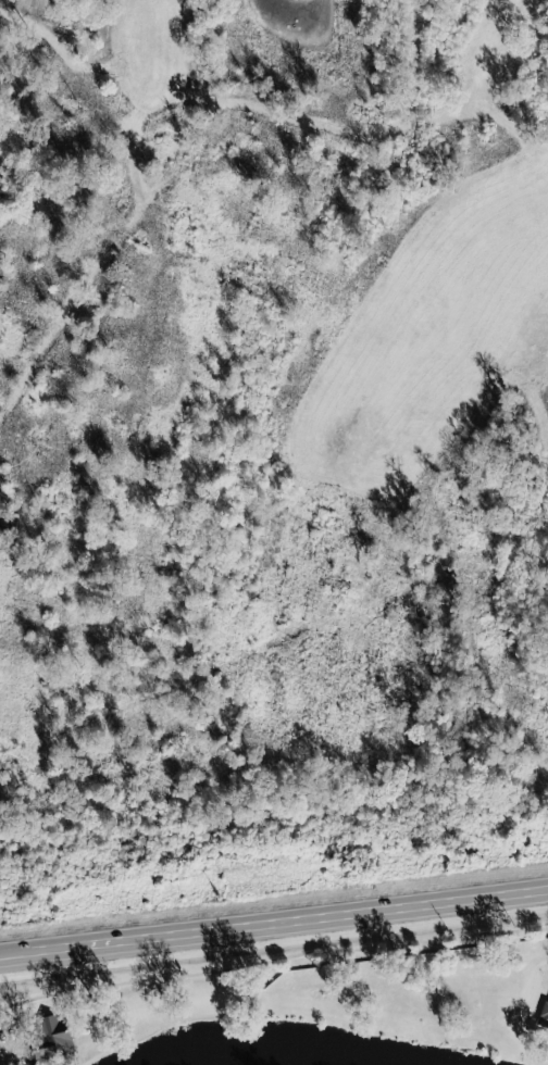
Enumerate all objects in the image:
railway: (273, 848)
road: (274, 919)
building: (541, 1012)
building: (48, 1033)

